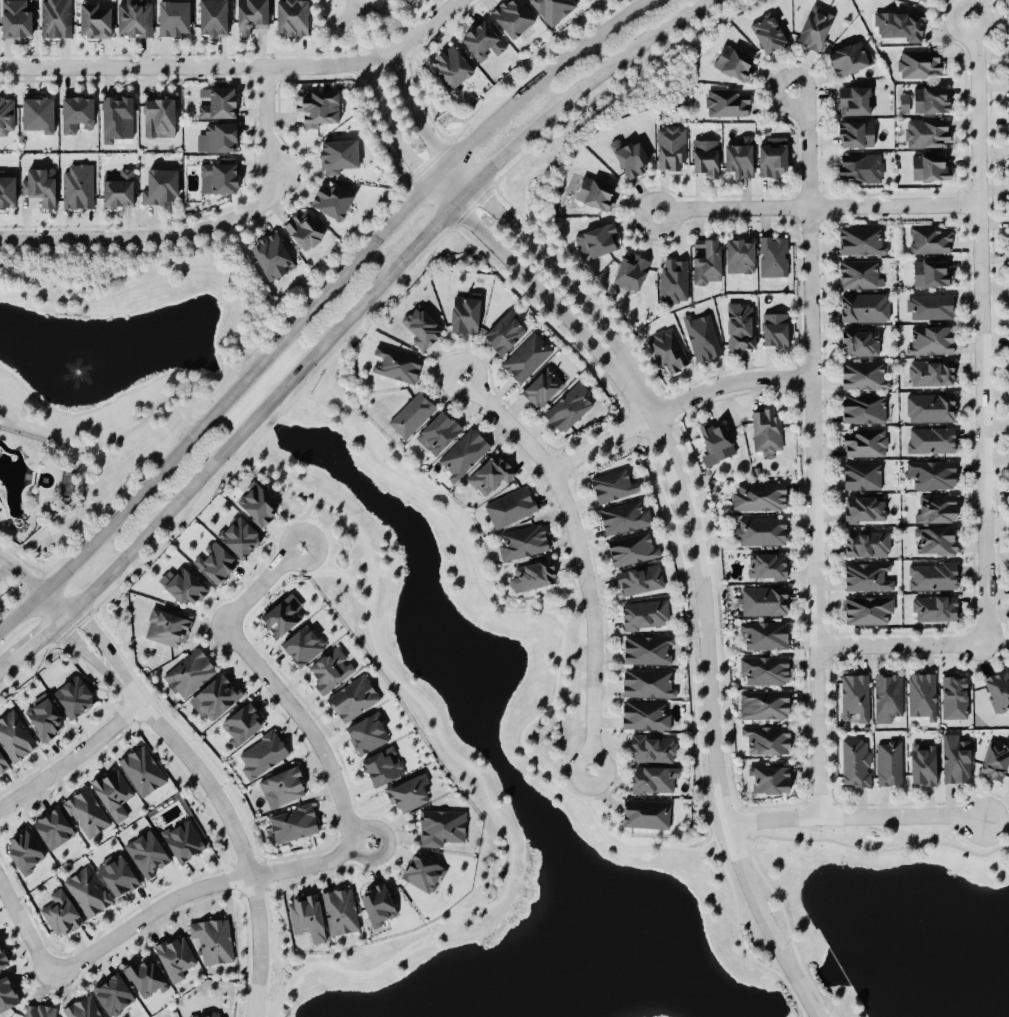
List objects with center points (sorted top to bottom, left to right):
building: (406, 0)
building: (922, 0)
road: (391, 6)
building: (552, 8)
building: (250, 14)
road: (362, 15)
building: (511, 16)
building: (16, 17)
building: (134, 17)
building: (173, 17)
building: (212, 17)
building: (291, 17)
building: (56, 18)
building: (95, 18)
road: (323, 21)
building: (899, 24)
road: (368, 27)
building: (814, 27)
building: (768, 32)
building: (481, 37)
building: (1008, 43)
road: (361, 44)
road: (397, 45)
building: (849, 57)
building: (734, 62)
building: (918, 62)
road: (239, 66)
building: (451, 66)
road: (533, 66)
road: (367, 69)
road: (276, 72)
road: (136, 78)
building: (1008, 78)
building: (930, 98)
building: (853, 99)
road: (422, 100)
building: (726, 101)
building: (220, 102)
building: (904, 102)
building: (317, 105)
building: (76, 110)
building: (1008, 112)
building: (6, 113)
building: (36, 113)
building: (158, 115)
building: (116, 116)
road: (379, 128)
building: (855, 132)
building: (927, 132)
building: (221, 136)
building: (671, 146)
building: (1008, 146)
road: (301, 154)
building: (339, 155)
building: (772, 155)
building: (629, 156)
building: (738, 156)
building: (704, 157)
road: (432, 158)
road: (515, 161)
building: (860, 166)
building: (929, 166)
building: (218, 174)
building: (1008, 180)
building: (39, 184)
building: (78, 185)
building: (160, 186)
building: (7, 188)
building: (117, 189)
building: (595, 192)
building: (332, 198)
road: (818, 207)
building: (1008, 213)
building: (304, 228)
road: (203, 230)
road: (518, 233)
building: (599, 238)
building: (929, 238)
building: (861, 239)
road: (497, 246)
building: (1008, 247)
road: (194, 253)
building: (271, 254)
building: (739, 254)
building: (773, 255)
building: (706, 260)
building: (630, 270)
building: (931, 272)
building: (860, 273)
road: (156, 275)
building: (673, 279)
building: (1008, 280)
road: (308, 288)
road: (370, 293)
road: (313, 302)
building: (929, 305)
building: (864, 306)
building: (464, 312)
road: (552, 325)
building: (740, 325)
building: (422, 326)
building: (774, 329)
building: (505, 331)
road: (979, 333)
building: (701, 336)
building: (931, 339)
building: (859, 341)
building: (667, 349)
road: (444, 352)
building: (526, 356)
road: (485, 359)
building: (396, 363)
building: (930, 372)
fountain: (74, 374)
road: (325, 374)
building: (863, 374)
road: (433, 380)
building: (542, 385)
road: (441, 395)
road: (675, 404)
building: (568, 406)
building: (929, 406)
building: (862, 407)
building: (411, 413)
building: (766, 429)
building: (438, 431)
building: (716, 438)
building: (930, 439)
road: (107, 441)
building: (864, 441)
building: (464, 451)
road: (812, 453)
road: (522, 454)
road: (553, 456)
road: (563, 470)
building: (931, 472)
building: (490, 474)
building: (861, 474)
building: (67, 482)
building: (611, 484)
road: (81, 491)
building: (759, 495)
road: (550, 496)
road: (444, 500)
building: (257, 502)
building: (510, 506)
building: (863, 508)
building: (935, 508)
building: (624, 516)
building: (760, 530)
road: (167, 531)
building: (239, 535)
building: (934, 539)
building: (523, 541)
building: (866, 542)
building: (632, 548)
road: (581, 551)
road: (1, 561)
building: (215, 561)
road: (567, 561)
building: (766, 564)
building: (532, 574)
building: (931, 574)
road: (19, 575)
building: (866, 575)
building: (639, 578)
road: (35, 579)
parking lot: (7, 582)
building: (185, 584)
building: (762, 599)
road: (49, 603)
road: (571, 606)
building: (933, 606)
building: (867, 607)
road: (560, 608)
building: (645, 613)
building: (281, 614)
road: (605, 614)
building: (167, 624)
road: (690, 630)
building: (765, 633)
road: (100, 636)
road: (32, 638)
building: (303, 644)
road: (899, 646)
building: (648, 649)
road: (84, 650)
road: (4, 662)
building: (331, 669)
building: (763, 669)
building: (189, 672)
road: (272, 679)
building: (647, 681)
building: (997, 688)
building: (854, 693)
building: (73, 694)
building: (217, 694)
building: (887, 694)
building: (921, 694)
building: (953, 695)
building: (352, 697)
building: (763, 703)
building: (643, 714)
building: (44, 717)
building: (241, 723)
road: (710, 723)
building: (368, 732)
building: (15, 735)
building: (766, 738)
road: (610, 743)
building: (653, 746)
building: (262, 752)
road: (73, 758)
building: (954, 758)
building: (994, 758)
building: (3, 761)
building: (855, 761)
building: (888, 761)
building: (922, 763)
building: (382, 765)
road: (470, 768)
building: (142, 769)
building: (768, 777)
building: (652, 779)
road: (618, 782)
building: (1008, 783)
building: (283, 784)
building: (112, 791)
building: (408, 792)
road: (606, 797)
building: (86, 811)
building: (645, 812)
road: (853, 817)
building: (293, 822)
building: (440, 825)
building: (53, 826)
road: (235, 828)
building: (182, 838)
road: (706, 843)
road: (625, 846)
building: (23, 849)
building: (147, 853)
building: (422, 871)
building: (117, 873)
road: (200, 885)
building: (87, 891)
building: (378, 903)
building: (340, 909)
building: (61, 912)
building: (307, 916)
road: (24, 925)
building: (212, 938)
building: (175, 955)
building: (2, 957)
building: (144, 975)
building: (6, 992)
building: (113, 993)
building: (82, 1007)
building: (39, 1009)
building: (206, 1014)

